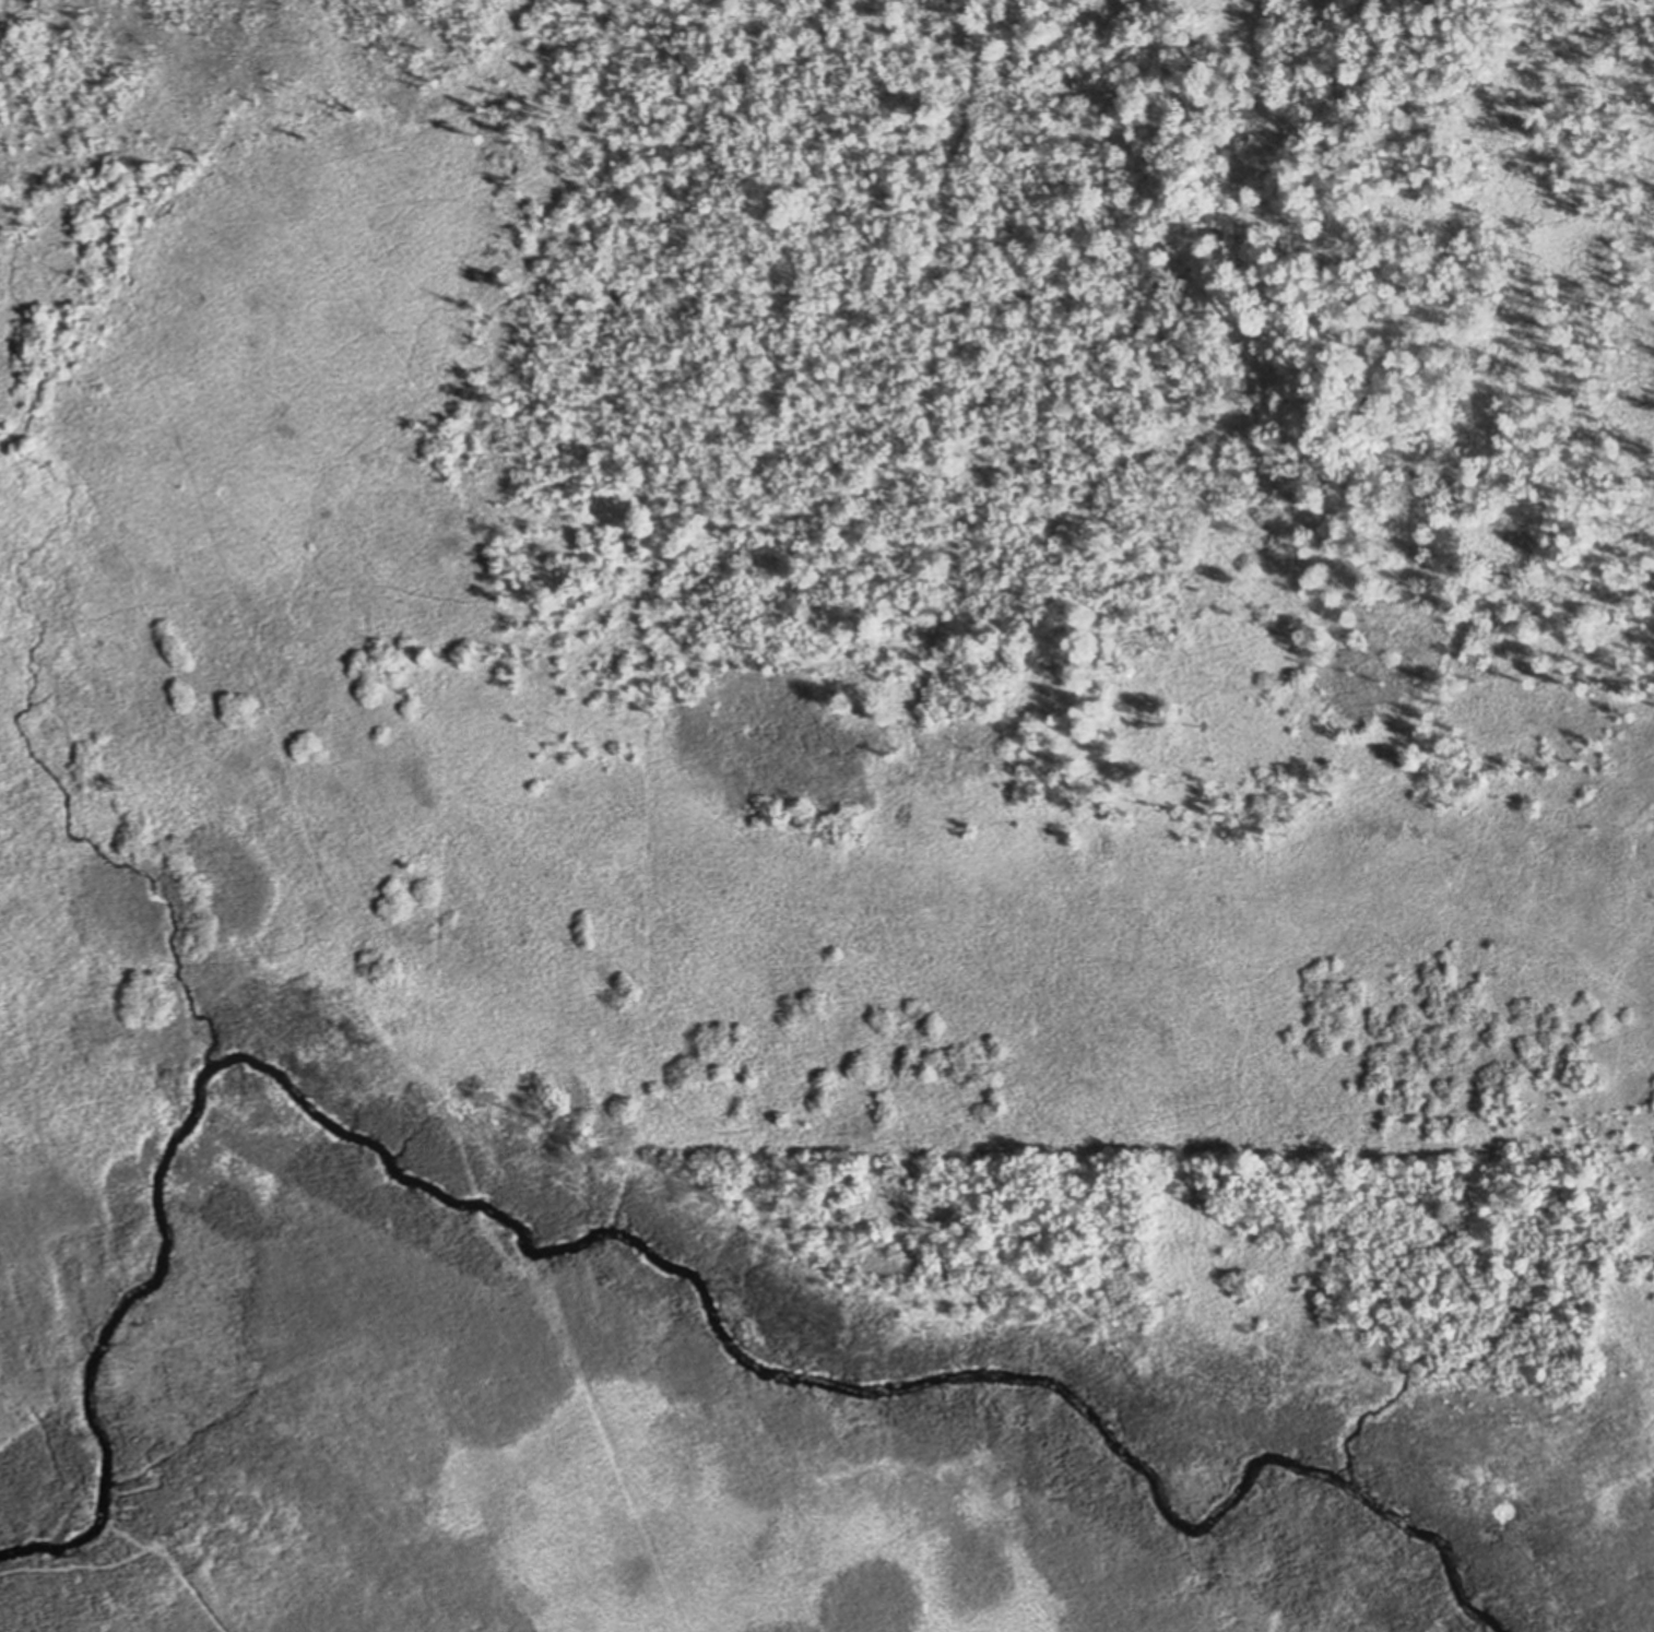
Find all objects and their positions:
building: (1502, 575)
river: (631, 1241)

